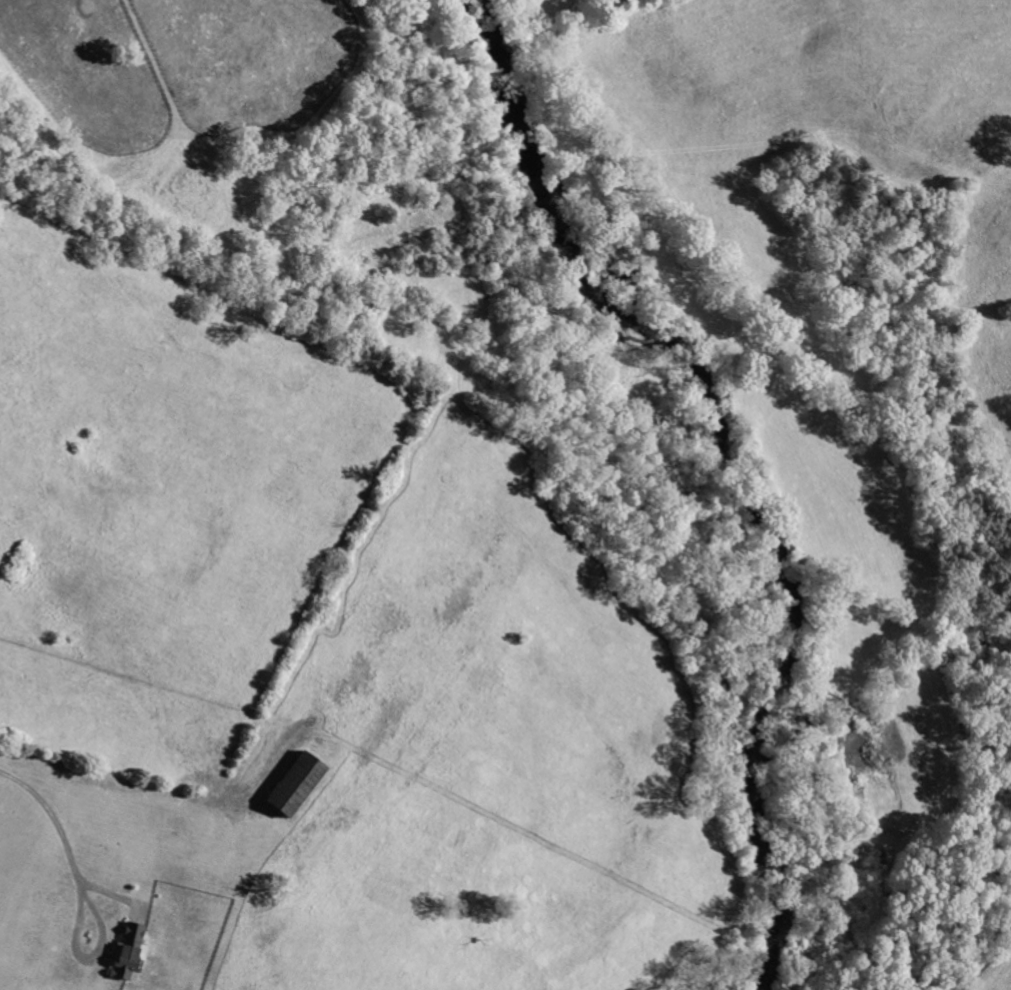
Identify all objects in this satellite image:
building: (294, 784)
road: (64, 842)
building: (128, 952)

